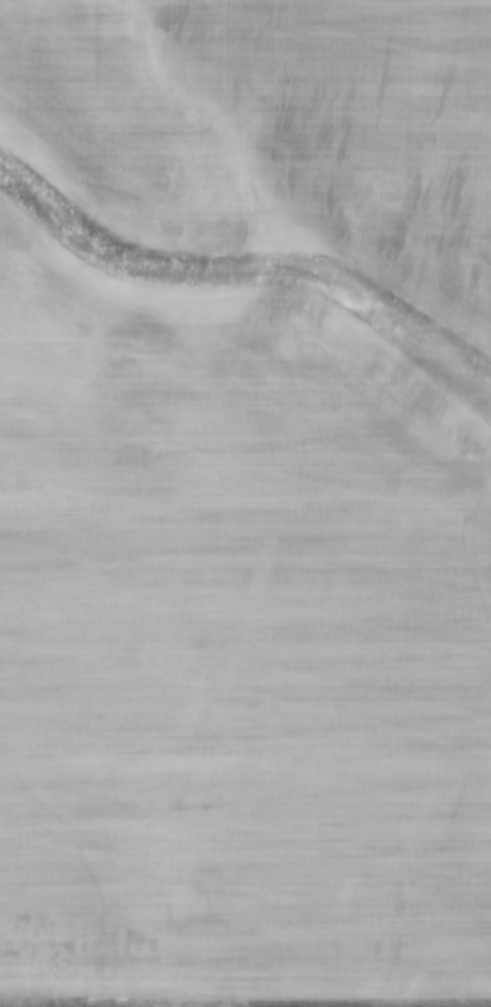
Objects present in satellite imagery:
road: (245, 1004)

